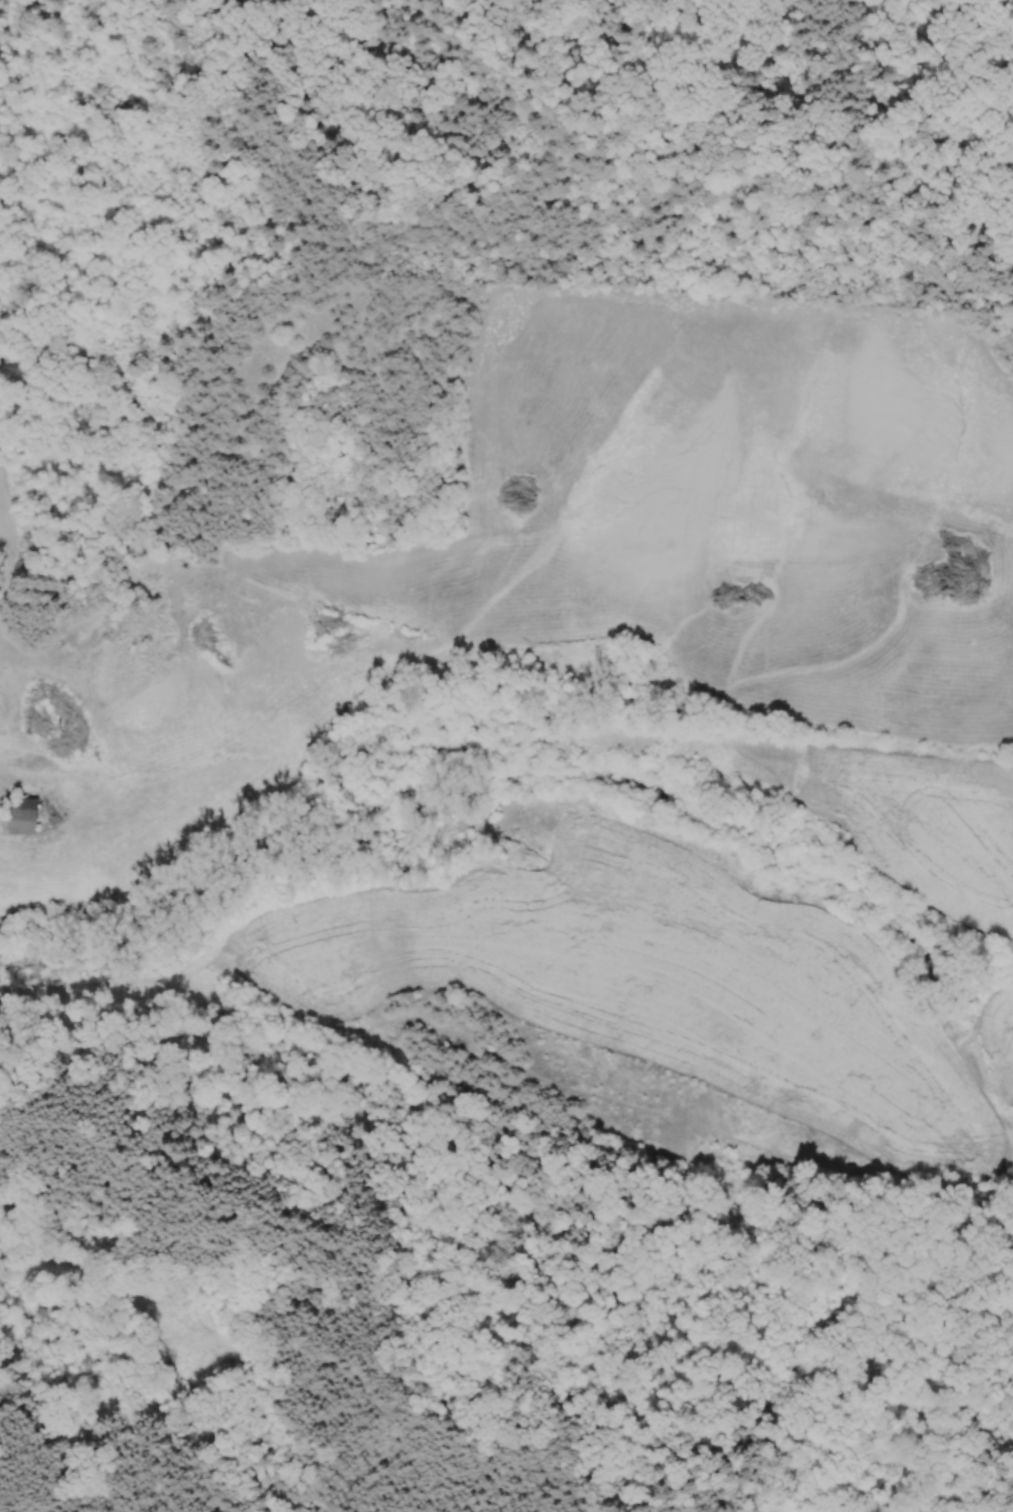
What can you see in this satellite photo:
building: (159, 721)
building: (24, 818)
building: (88, 893)

